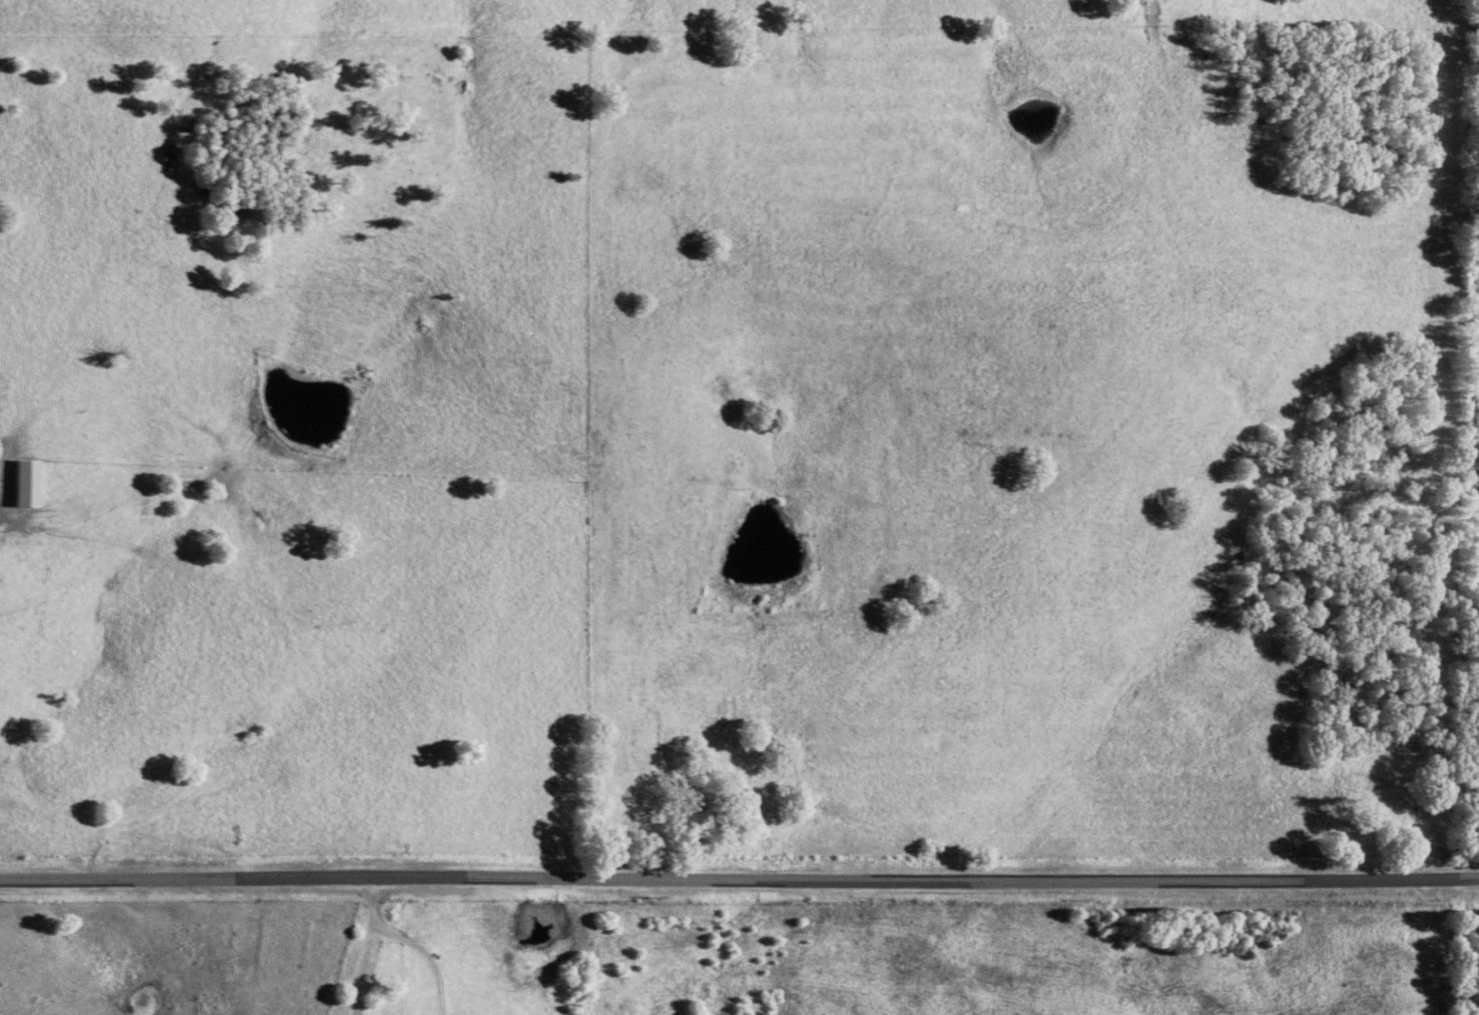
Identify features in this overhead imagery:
road: (739, 879)
road: (364, 947)
road: (422, 956)

